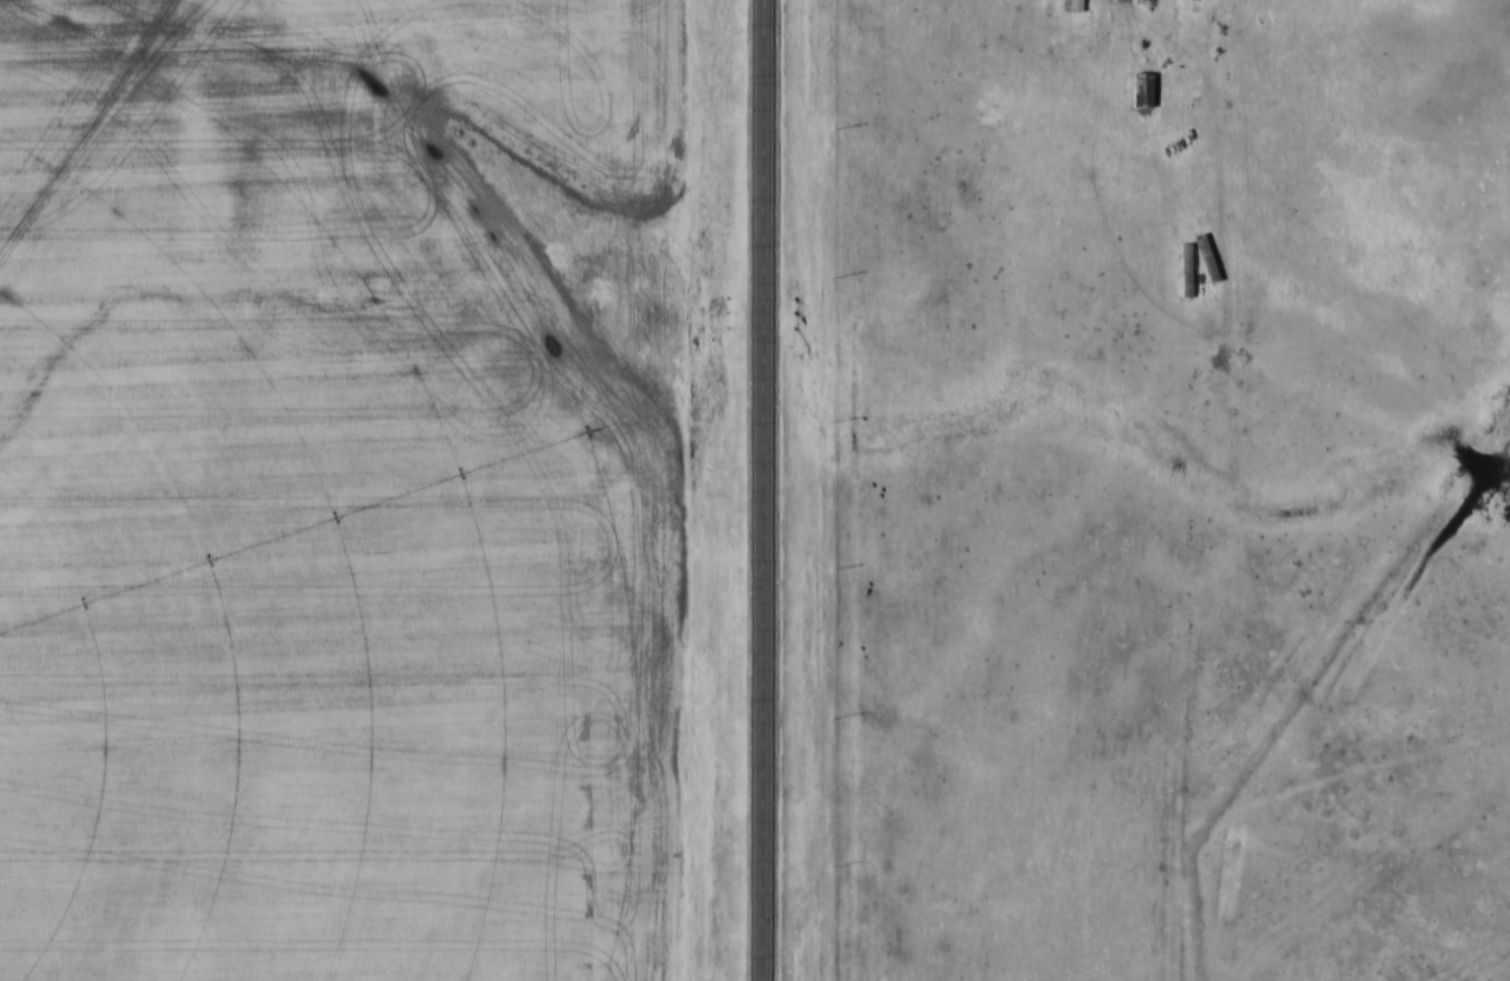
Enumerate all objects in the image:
building: (1139, 2)
building: (1077, 5)
road: (1186, 15)
building: (1142, 91)
building: (1207, 257)
building: (1187, 270)
crop: (340, 489)
road: (764, 490)

